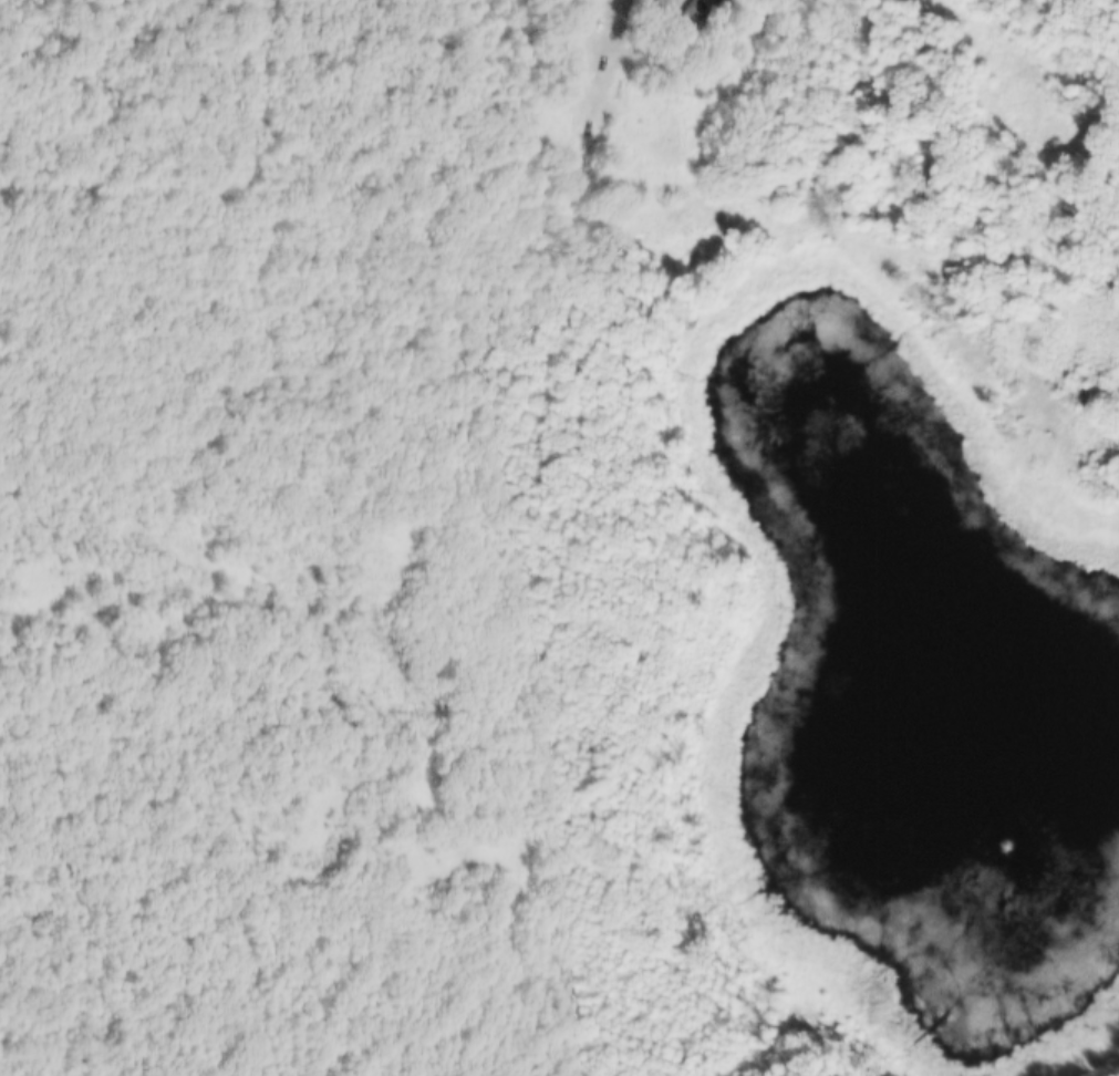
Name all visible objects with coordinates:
road: (631, 8)

